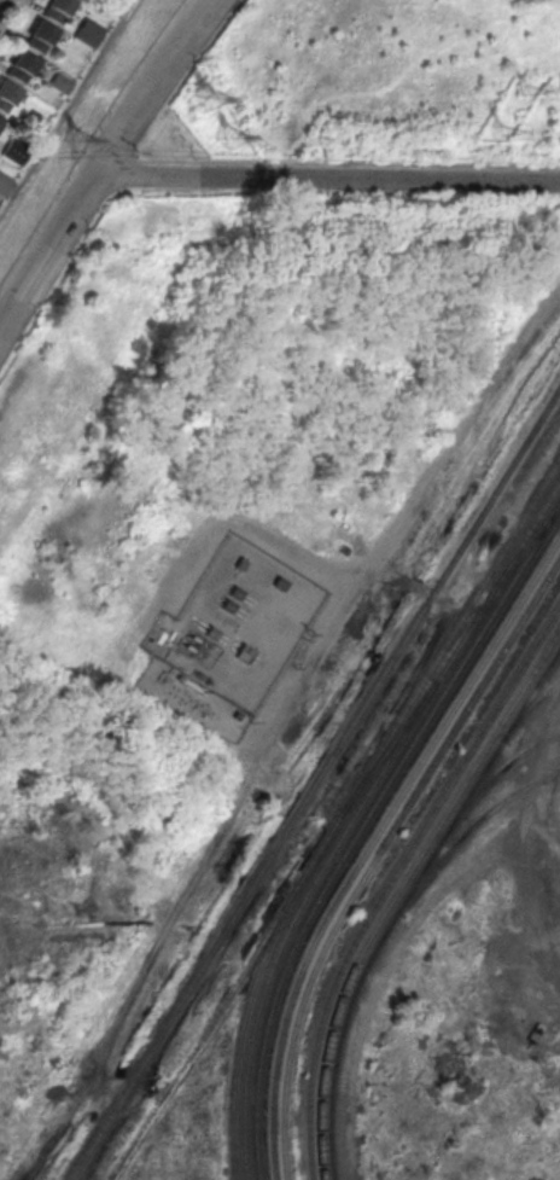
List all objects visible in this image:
building: (58, 11)
building: (88, 31)
building: (41, 37)
building: (22, 68)
power tower: (518, 87)
power tower: (204, 95)
building: (7, 97)
building: (1, 122)
power tower: (496, 128)
power tower: (232, 134)
power tower: (75, 141)
building: (16, 149)
road: (103, 162)
road: (327, 178)
building: (4, 181)
railway: (515, 552)
railway: (477, 632)
railway: (430, 664)
railway: (436, 667)
railway: (434, 679)
railway: (526, 702)
railway: (314, 779)
road: (525, 821)
railway: (467, 827)
railway: (390, 874)
railway: (396, 885)
railway: (402, 896)
railway: (410, 923)
railway: (282, 959)
railway: (239, 1021)
railway: (251, 1024)
railway: (203, 1028)

